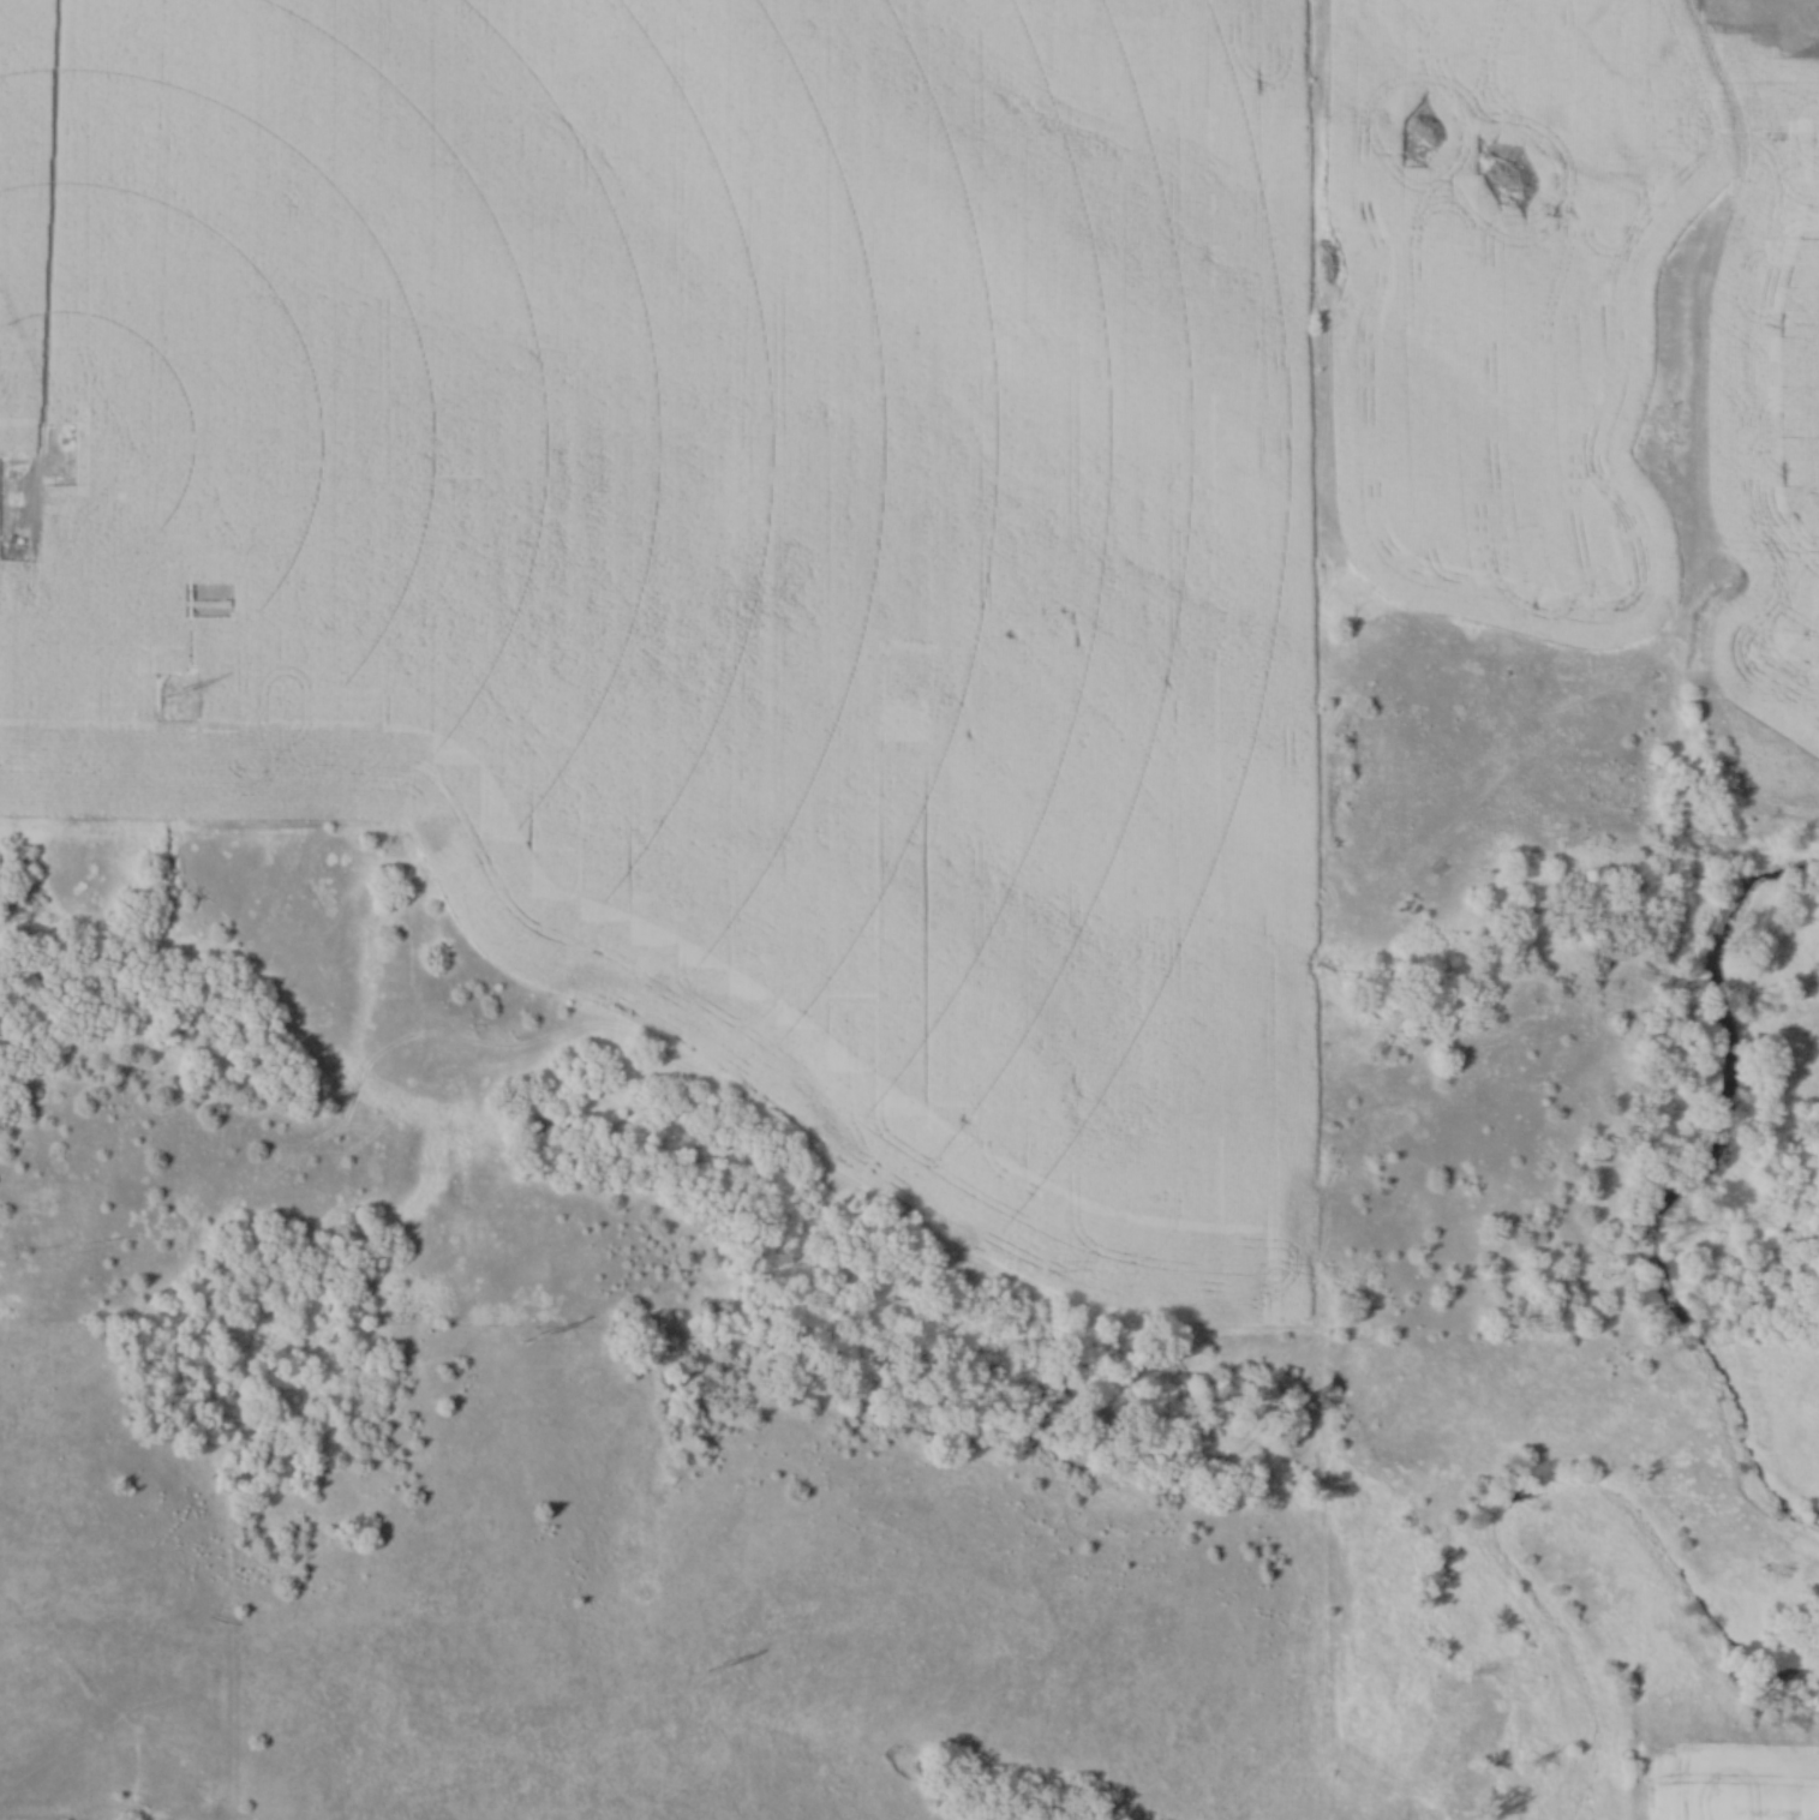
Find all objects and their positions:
power tower: (176, 698)
river: (1661, 1179)
power tower: (526, 1329)
river: (1532, 1493)
power tower: (711, 1666)

